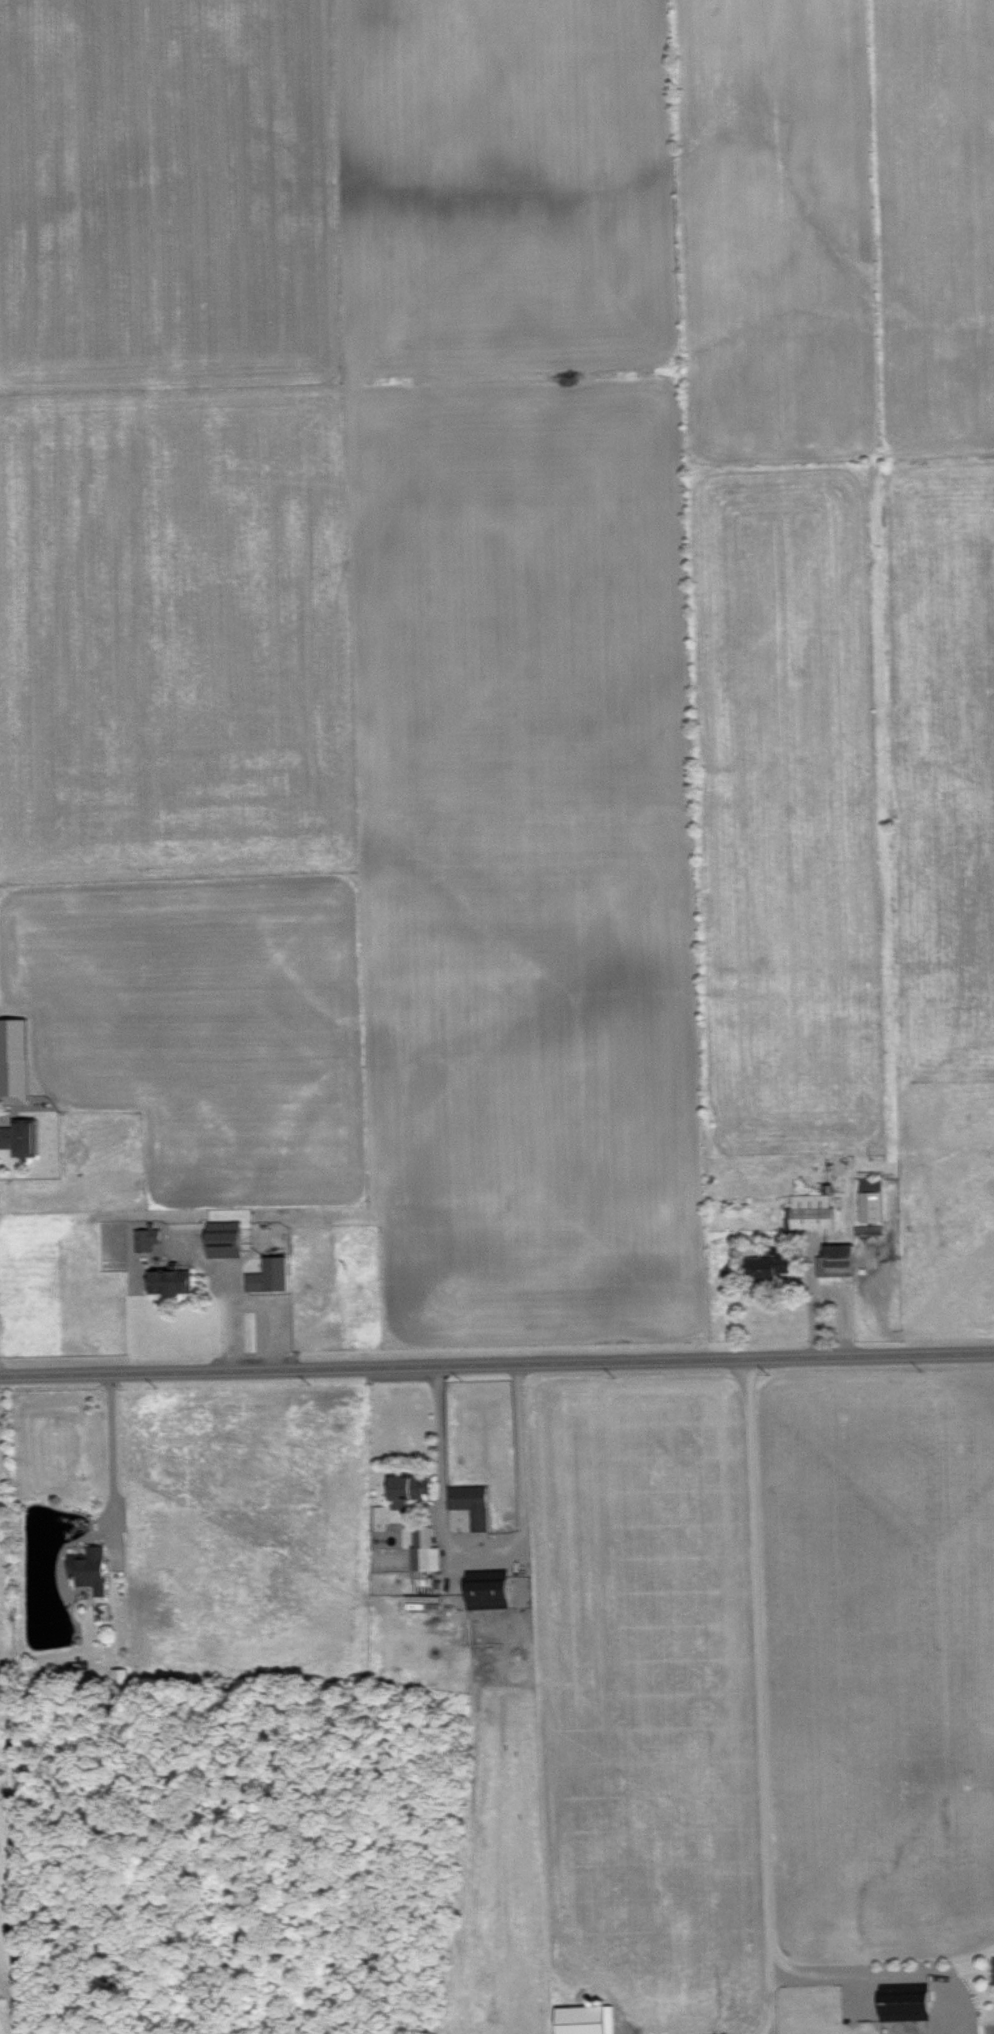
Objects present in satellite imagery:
building: (14, 1060)
building: (22, 1136)
building: (873, 1199)
building: (812, 1211)
building: (870, 1229)
building: (226, 1230)
building: (148, 1237)
building: (838, 1261)
building: (772, 1264)
building: (270, 1274)
building: (172, 1280)
road: (252, 1299)
road: (231, 1336)
road: (497, 1367)
road: (113, 1462)
building: (413, 1486)
building: (473, 1503)
building: (426, 1549)
road: (483, 1551)
building: (91, 1567)
building: (491, 1592)
building: (121, 1676)
road: (759, 1699)
road: (851, 1972)
building: (908, 2006)
building: (589, 2019)

